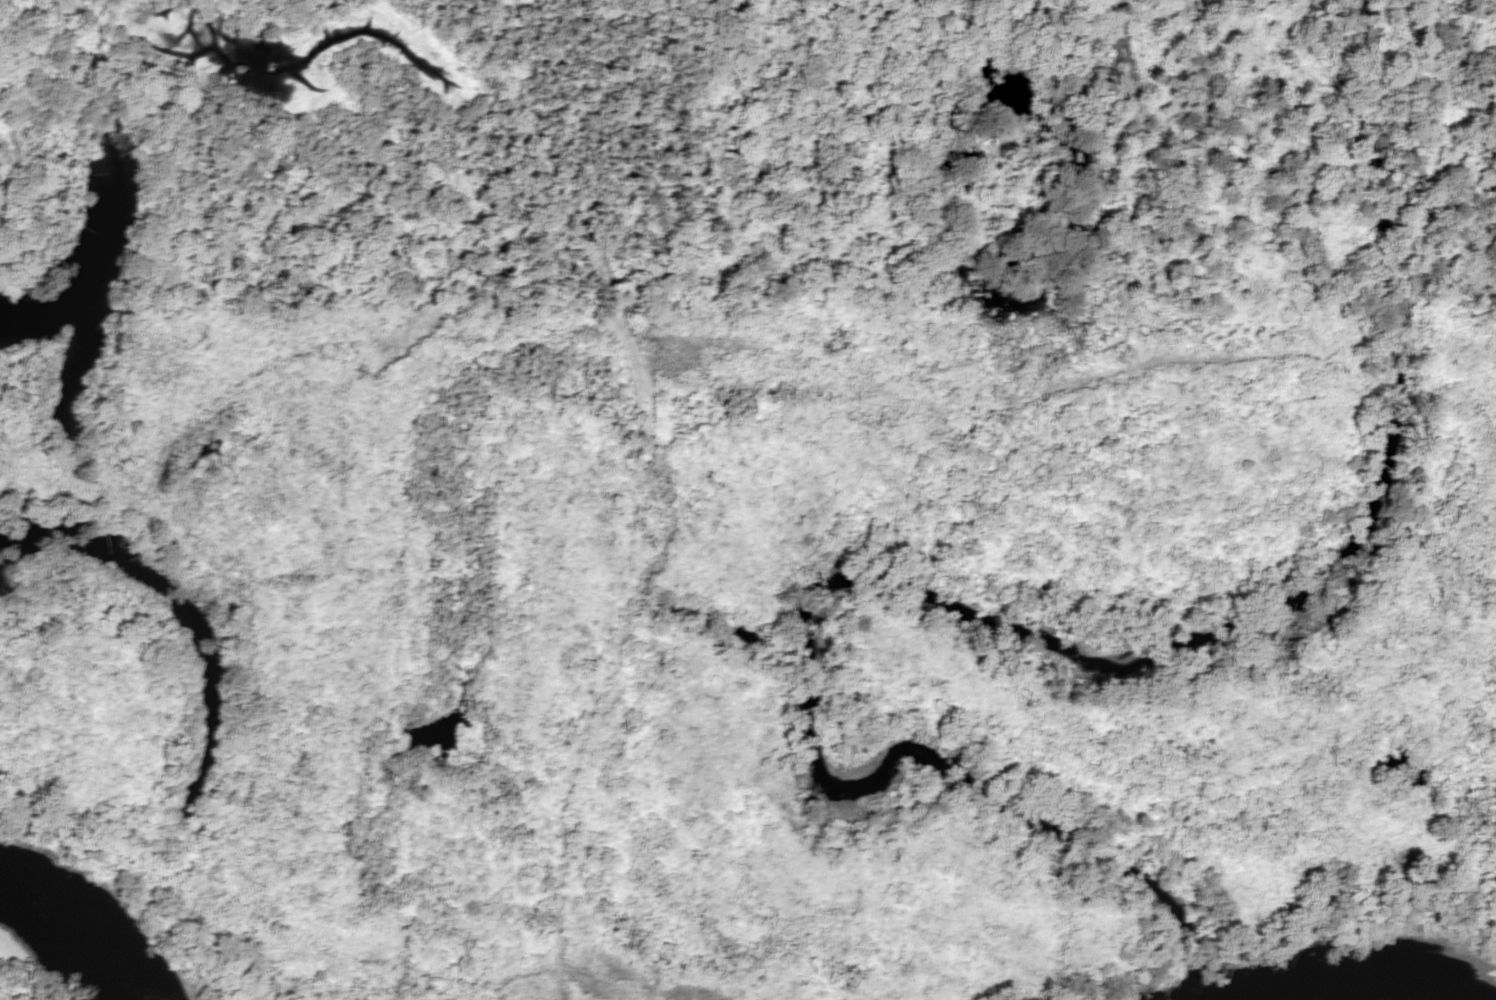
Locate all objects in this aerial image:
river: (75, 957)
river: (1369, 982)

